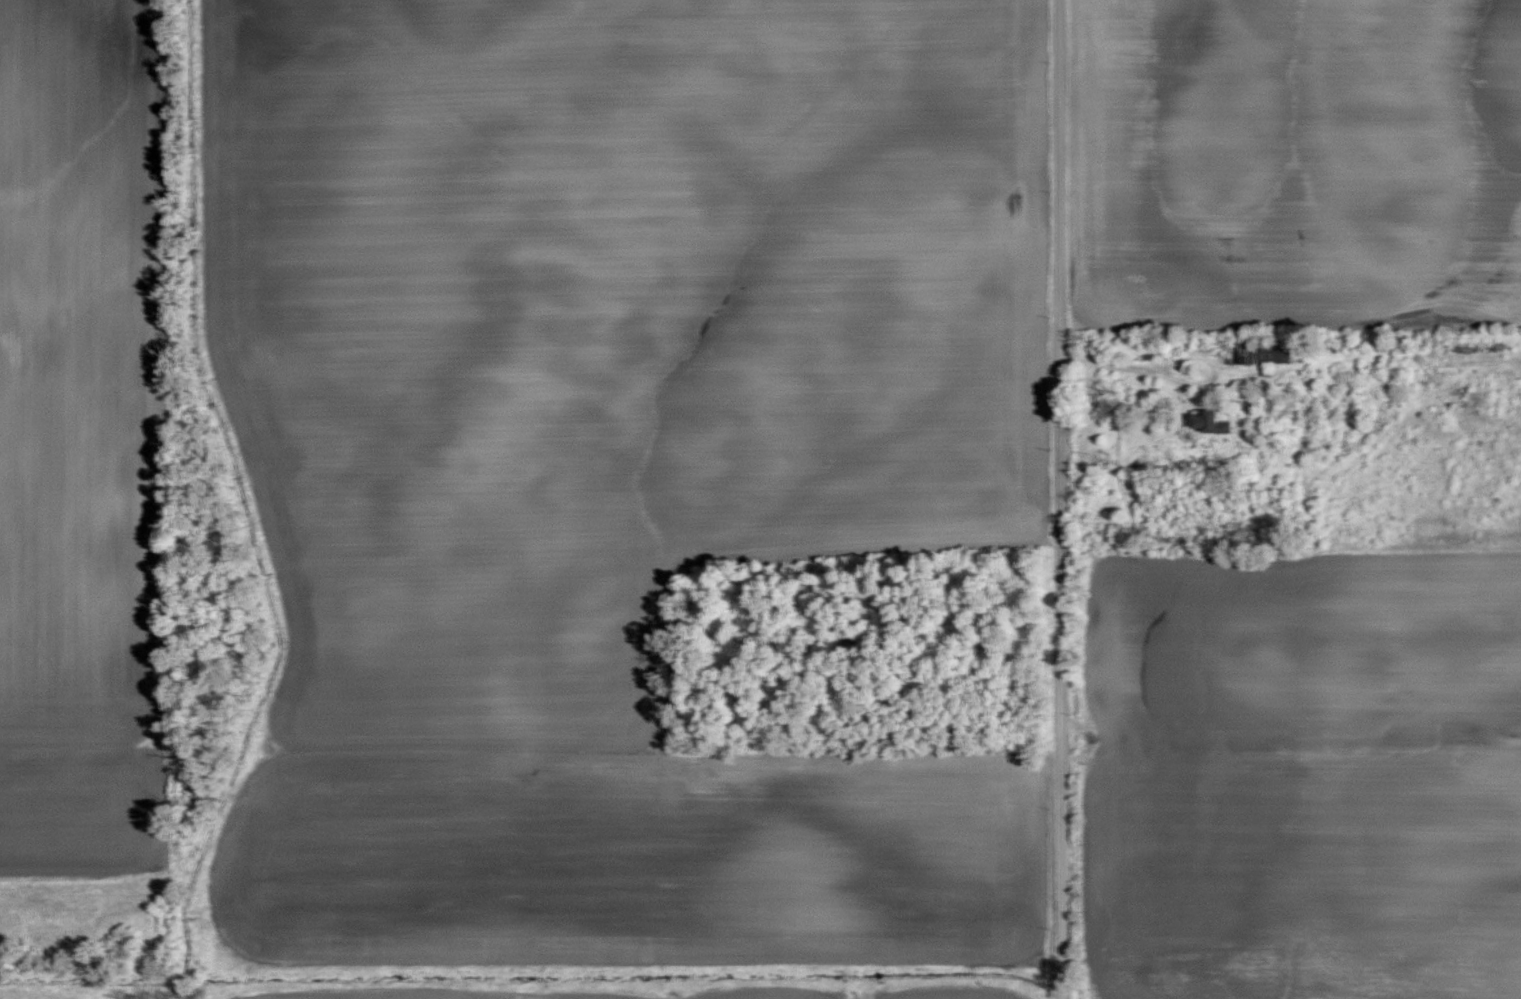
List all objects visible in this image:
building: (1248, 352)
building: (1275, 352)
building: (1206, 417)
road: (1061, 499)

